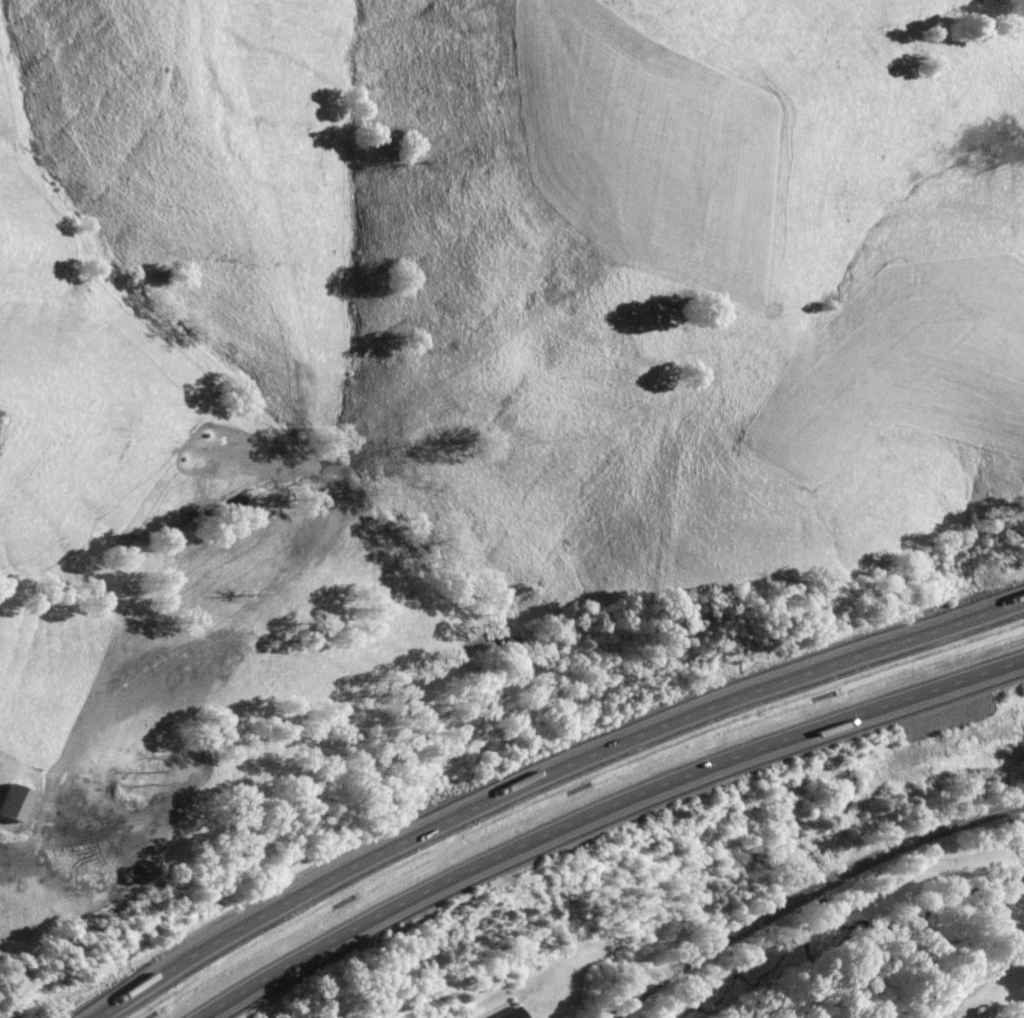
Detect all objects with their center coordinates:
road: (544, 774)
building: (15, 800)
road: (606, 814)
road: (809, 893)
building: (514, 1013)

